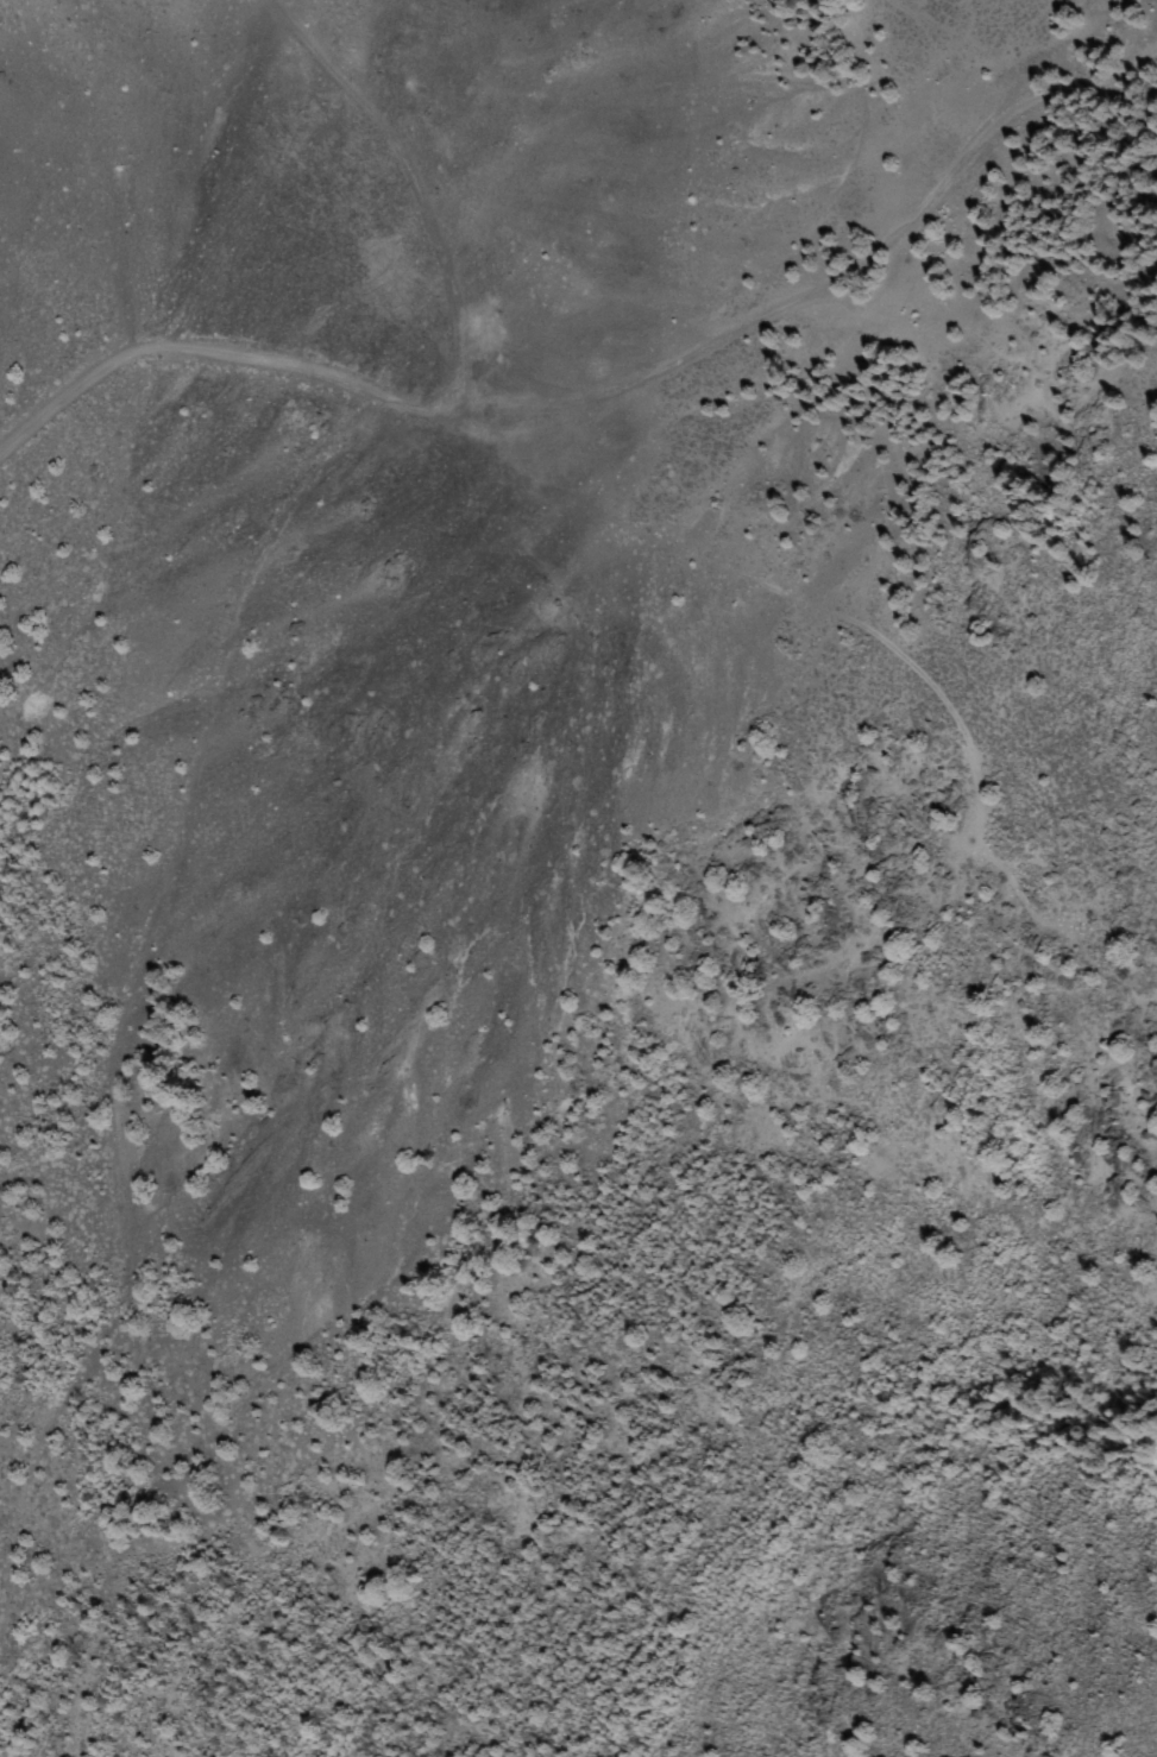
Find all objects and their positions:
road: (422, 187)
road: (826, 291)
road: (210, 344)
road: (772, 587)
road: (122, 995)

